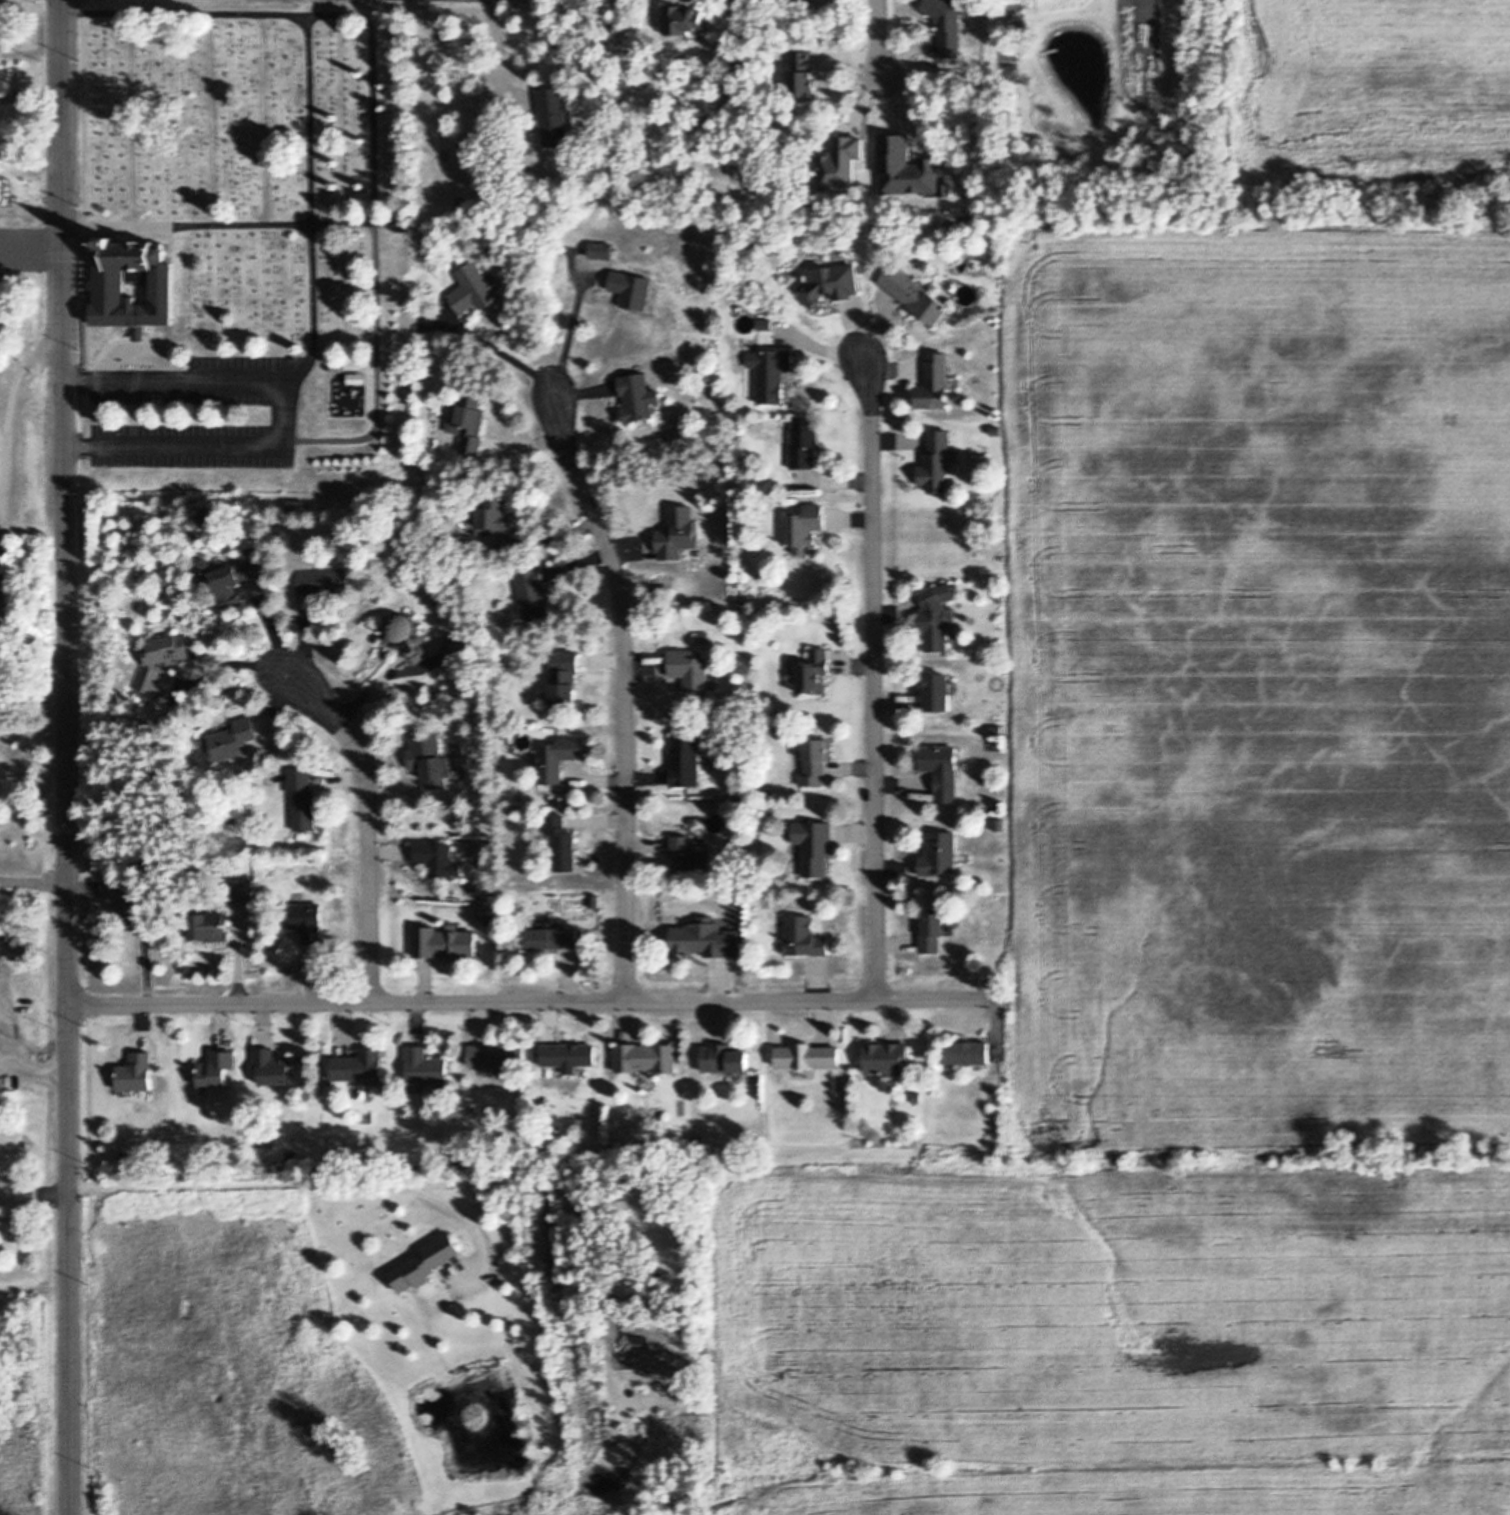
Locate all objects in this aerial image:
road: (727, 13)
building: (683, 19)
building: (966, 19)
building: (948, 24)
building: (1, 35)
building: (694, 35)
road: (880, 38)
building: (748, 65)
building: (803, 74)
building: (0, 79)
building: (554, 116)
park: (253, 161)
building: (843, 163)
building: (907, 168)
building: (1, 190)
building: (820, 190)
building: (948, 190)
road: (31, 201)
building: (401, 216)
road: (270, 223)
building: (601, 248)
road: (31, 249)
building: (830, 282)
building: (109, 285)
building: (632, 288)
building: (475, 290)
building: (916, 294)
building: (1, 297)
building: (755, 318)
building: (746, 324)
building: (765, 324)
road: (561, 335)
road: (504, 352)
building: (773, 371)
building: (358, 378)
building: (935, 381)
building: (638, 396)
road: (295, 410)
building: (468, 421)
building: (806, 440)
building: (955, 456)
building: (937, 461)
building: (297, 511)
building: (495, 514)
building: (752, 523)
building: (806, 528)
building: (677, 533)
building: (688, 554)
building: (771, 557)
building: (233, 576)
building: (210, 579)
building: (322, 580)
building: (535, 593)
building: (997, 594)
building: (167, 611)
building: (937, 615)
road: (271, 630)
building: (405, 635)
building: (704, 636)
building: (161, 658)
road: (226, 665)
building: (794, 667)
building: (689, 669)
building: (814, 672)
building: (563, 676)
road: (875, 678)
building: (710, 681)
building: (941, 691)
road: (626, 693)
building: (998, 729)
building: (233, 739)
road: (66, 757)
building: (556, 758)
building: (429, 759)
building: (685, 759)
building: (817, 760)
building: (943, 768)
building: (518, 795)
building: (303, 798)
building: (1000, 805)
building: (714, 822)
road: (368, 826)
building: (561, 843)
building: (815, 845)
building: (941, 854)
building: (690, 855)
building: (440, 859)
building: (782, 874)
road: (33, 876)
building: (240, 889)
building: (297, 897)
building: (135, 898)
building: (595, 900)
building: (307, 921)
building: (208, 926)
building: (934, 930)
building: (554, 936)
building: (700, 937)
building: (806, 937)
building: (444, 942)
road: (538, 1001)
building: (965, 1052)
building: (497, 1054)
building: (568, 1054)
building: (808, 1055)
building: (647, 1057)
building: (887, 1057)
building: (727, 1058)
road: (34, 1064)
building: (364, 1064)
building: (980, 1065)
building: (272, 1066)
building: (425, 1066)
building: (950, 1067)
building: (218, 1068)
building: (497, 1070)
building: (570, 1070)
building: (804, 1071)
building: (138, 1072)
building: (728, 1075)
building: (737, 1075)
building: (893, 1075)
building: (647, 1078)
building: (737, 1083)
building: (378, 1084)
building: (414, 1086)
building: (363, 1088)
building: (205, 1089)
building: (122, 1090)
building: (916, 1097)
building: (998, 1099)
building: (237, 1117)
building: (366, 1117)
building: (994, 1139)
building: (240, 1151)
building: (127, 1156)
road: (383, 1176)
building: (428, 1263)

